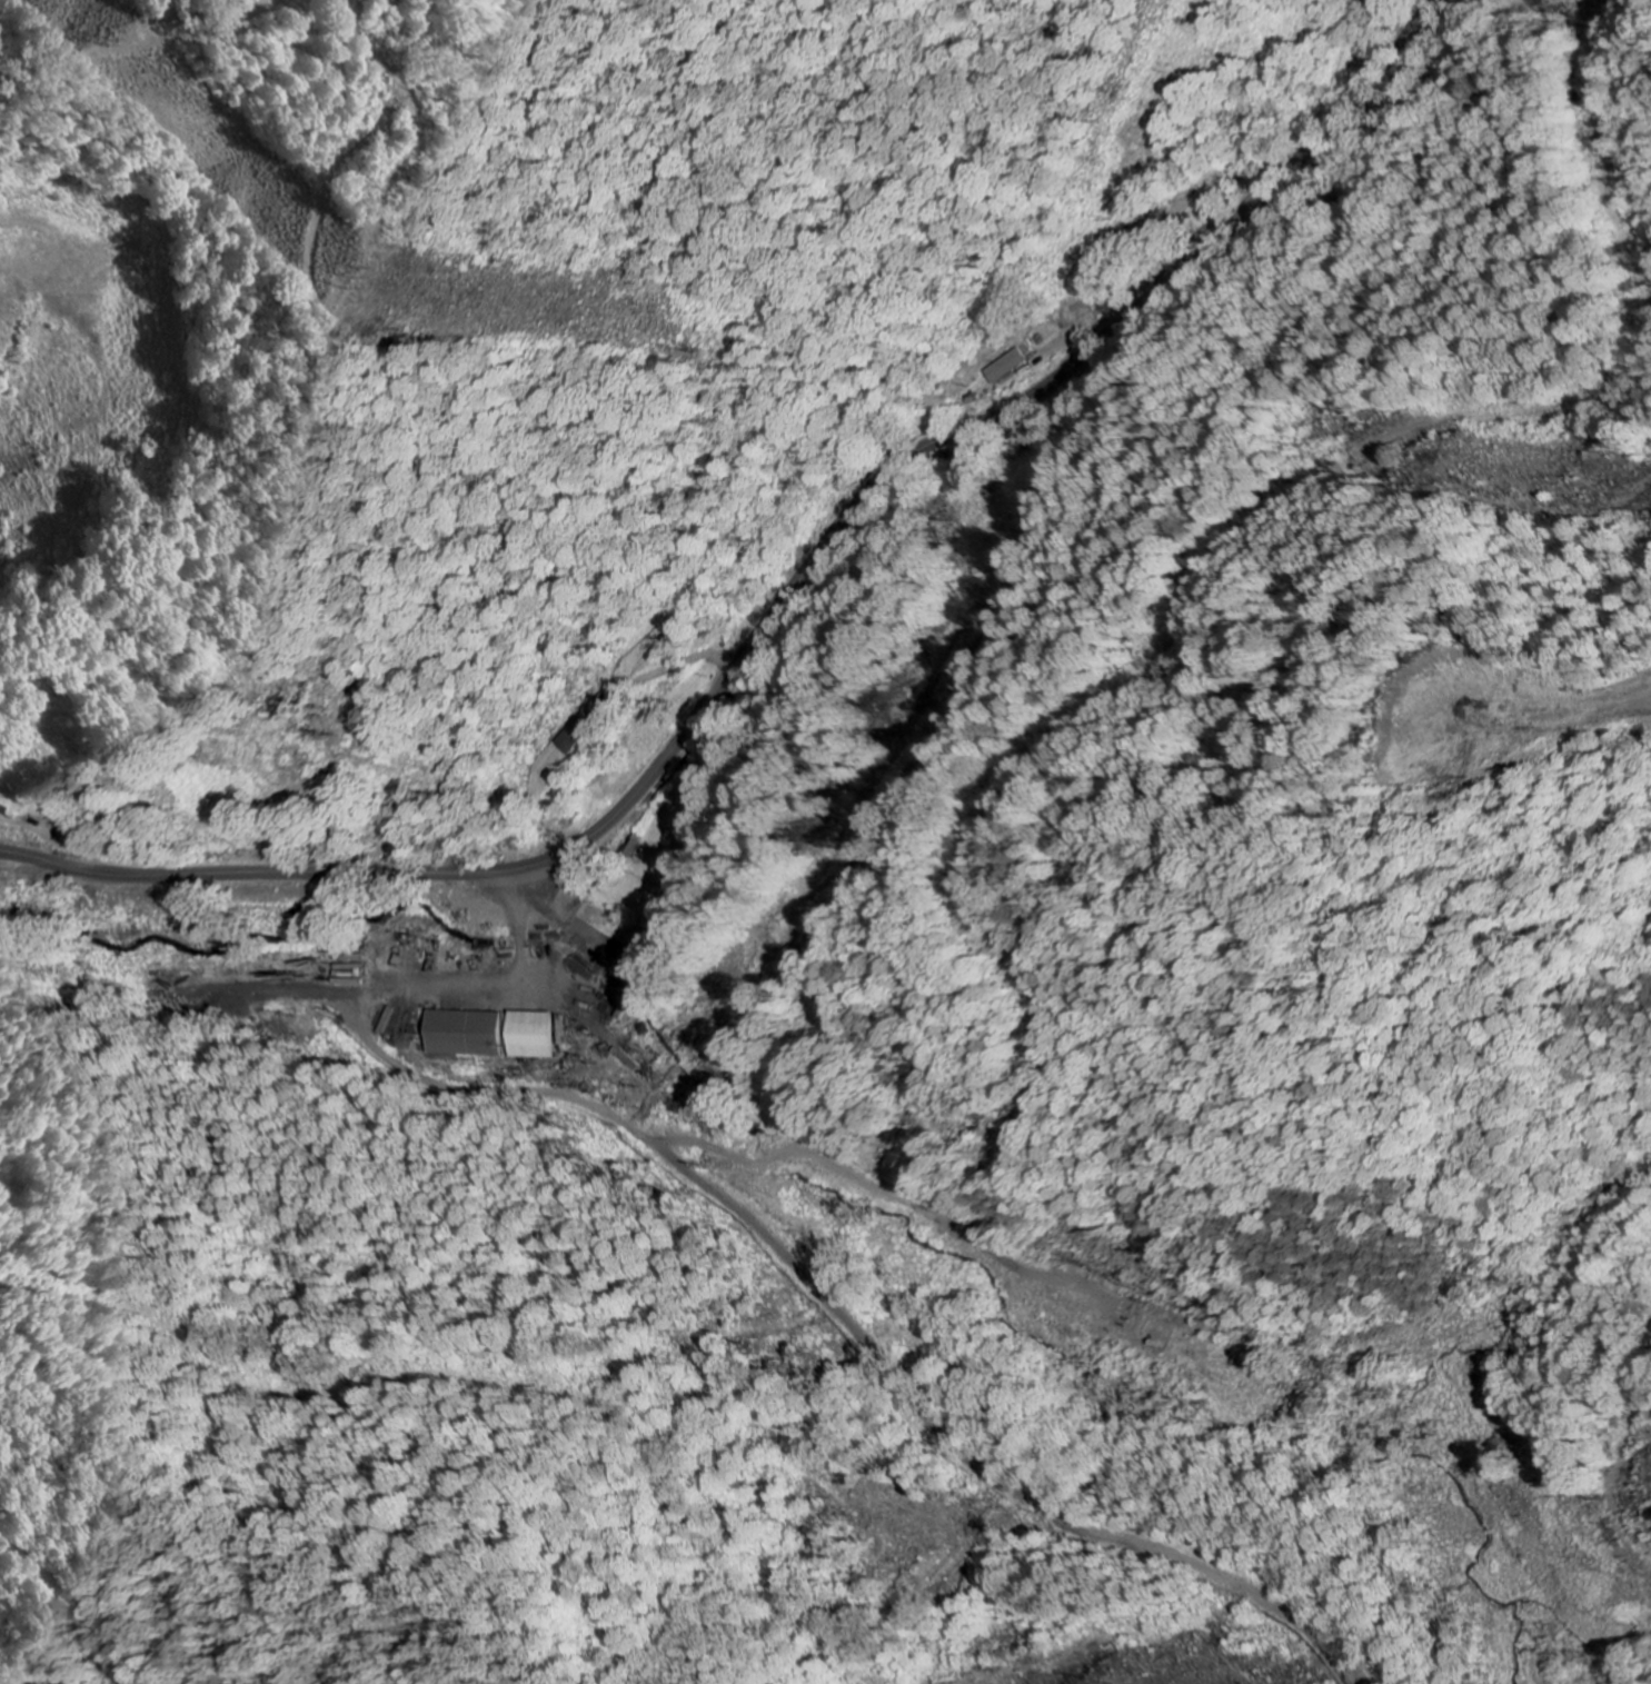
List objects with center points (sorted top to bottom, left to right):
building: (1010, 368)
road: (779, 604)
building: (580, 735)
building: (471, 1034)
building: (540, 1035)
road: (759, 1233)

